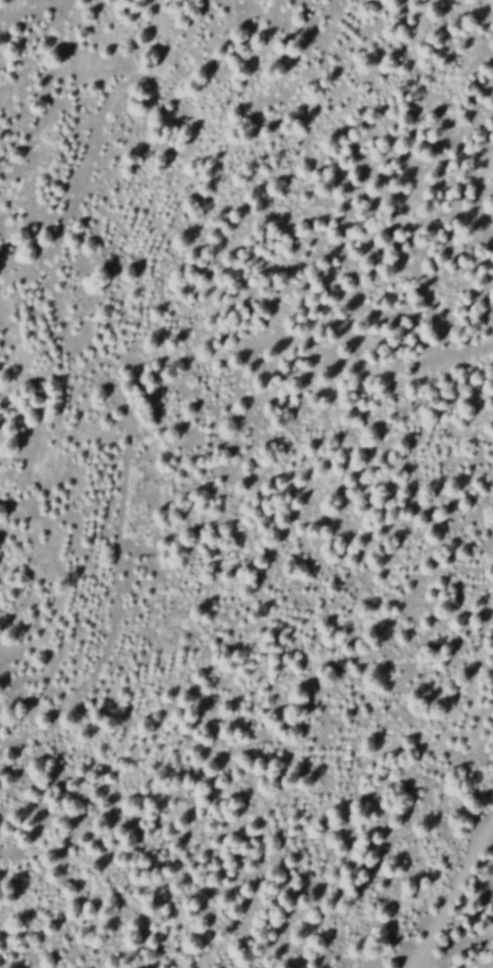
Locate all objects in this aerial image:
road: (27, 8)
road: (452, 893)

